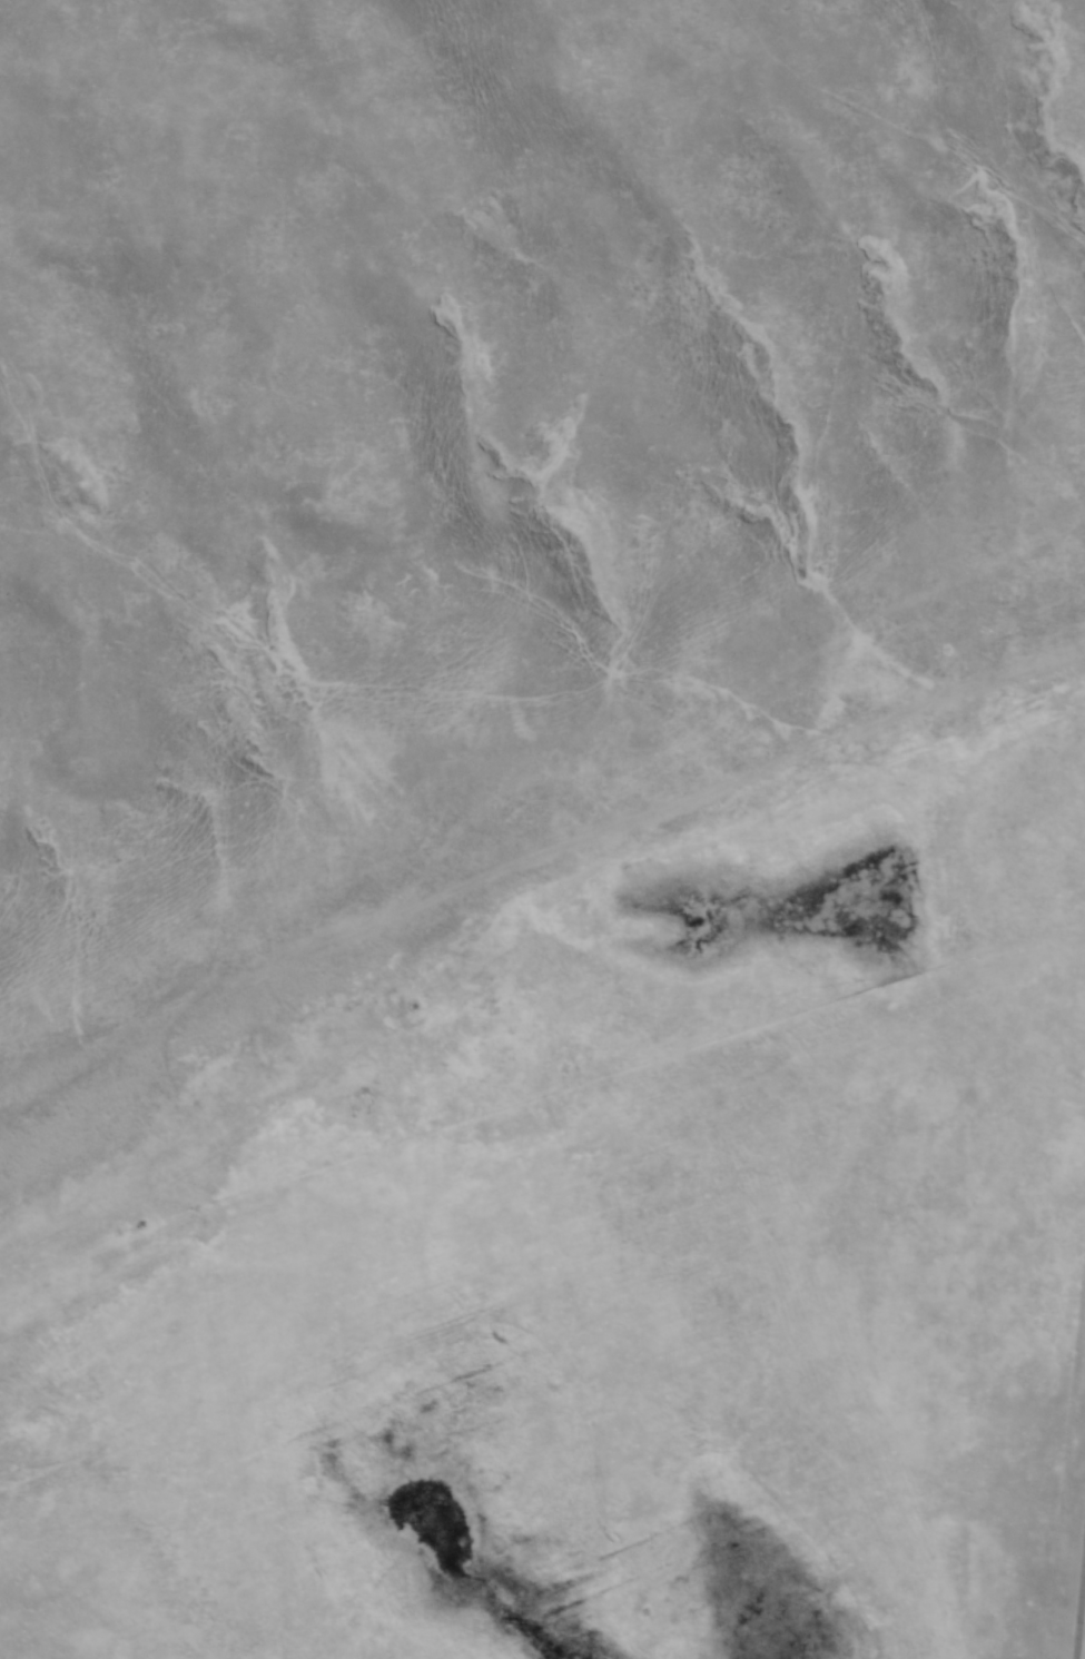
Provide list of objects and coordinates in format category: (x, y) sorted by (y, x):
road: (1081, 1610)

